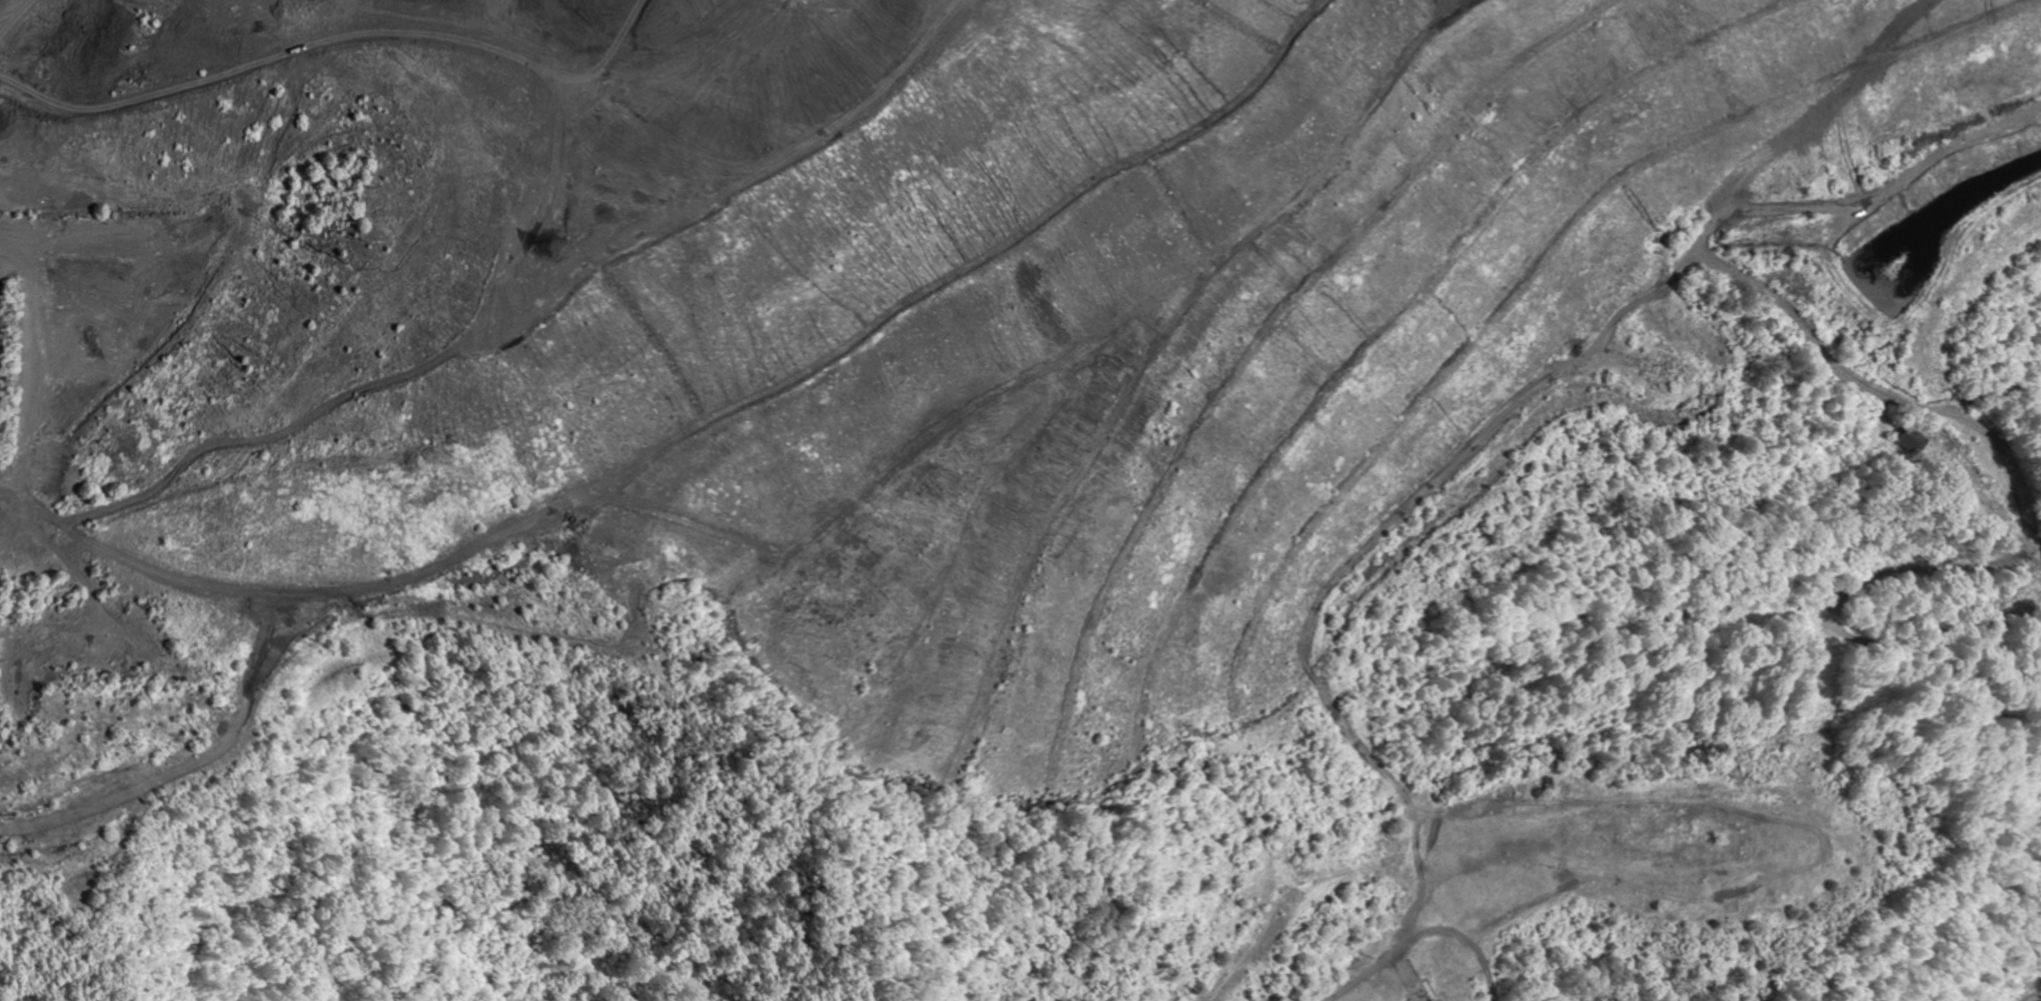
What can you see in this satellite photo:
building: (1916, 440)
building: (1421, 995)
building: (1440, 1000)

